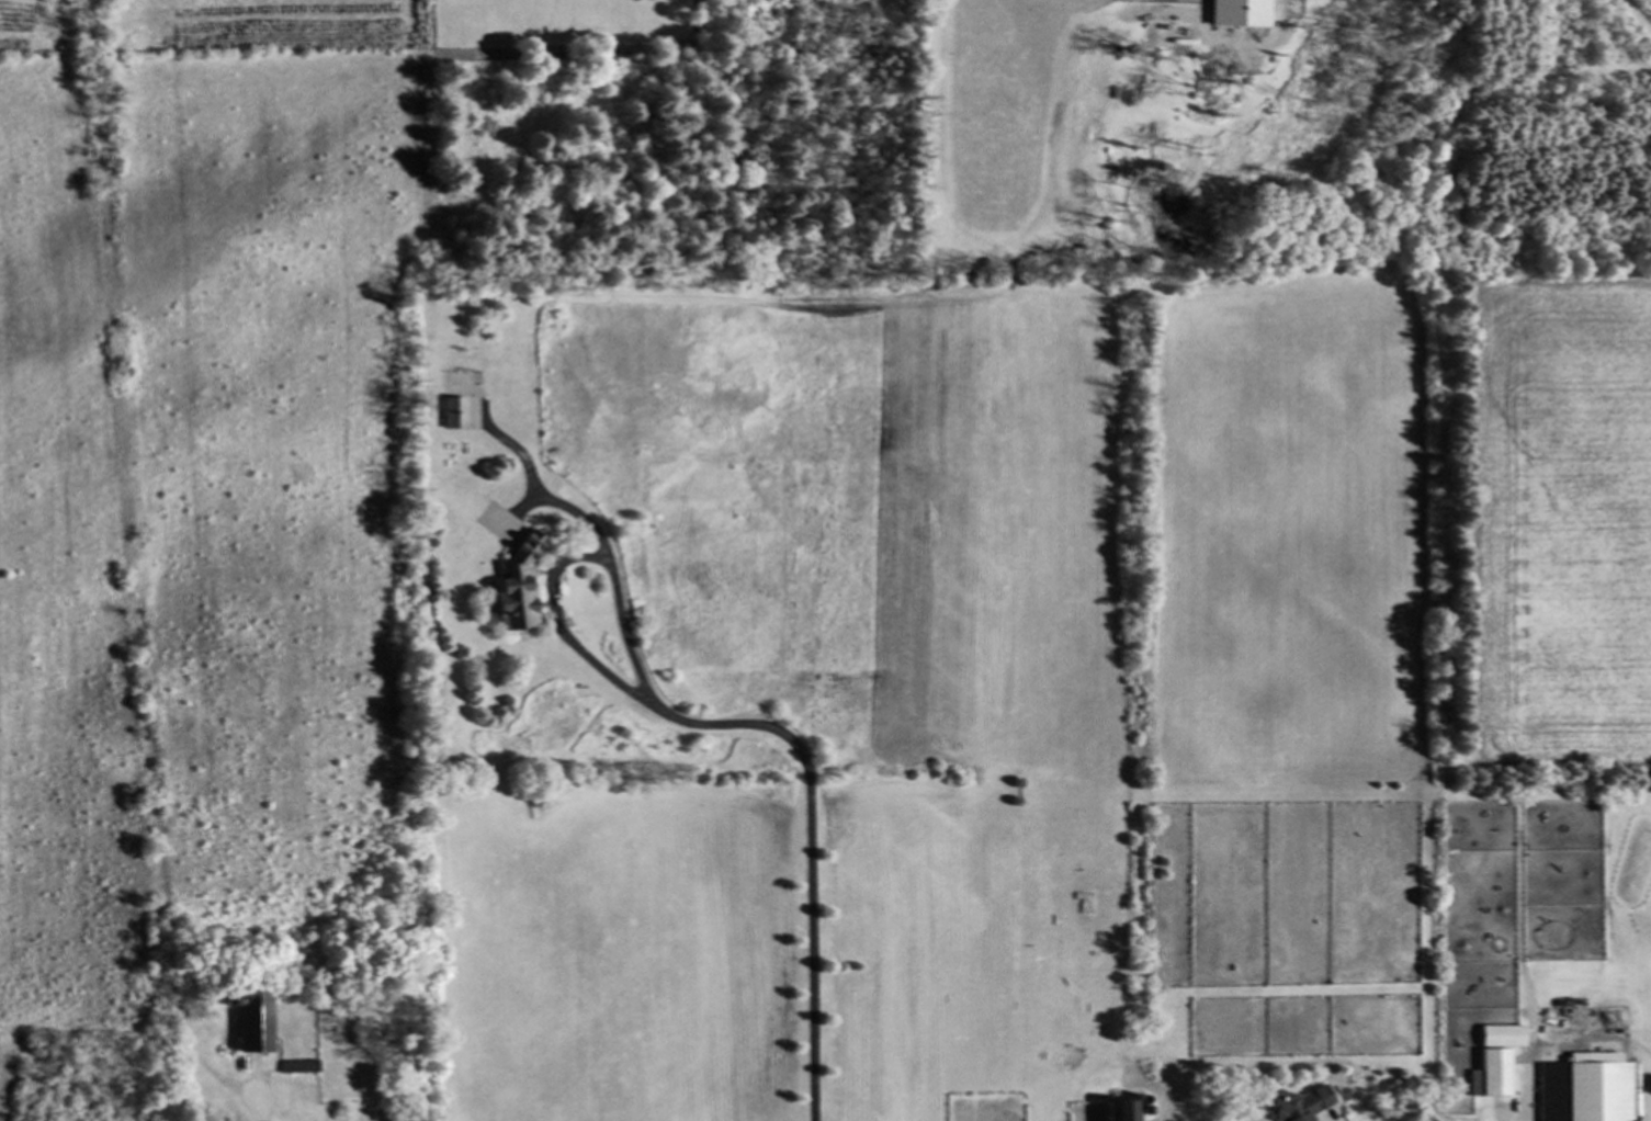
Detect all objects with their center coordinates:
building: (452, 415)
building: (512, 568)
road: (559, 629)
road: (750, 725)
building: (251, 1022)
road: (1583, 1042)
building: (1495, 1061)
building: (1584, 1092)
building: (1303, 1103)
road: (251, 1108)
building: (1121, 1111)

